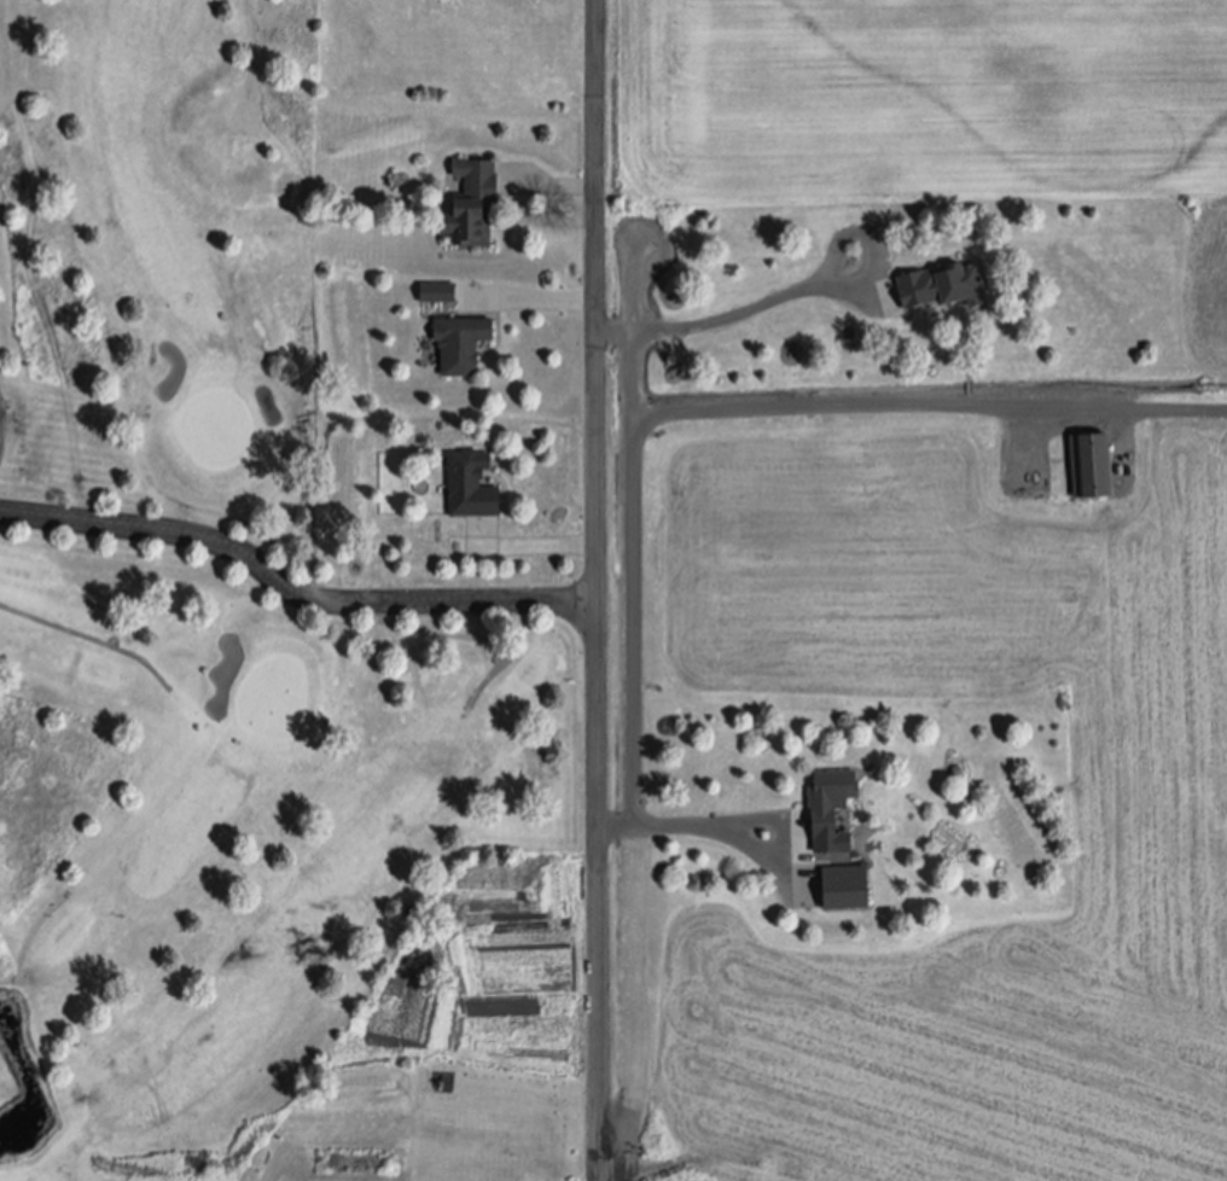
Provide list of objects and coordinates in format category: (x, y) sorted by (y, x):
building: (472, 208)
building: (941, 290)
road: (748, 307)
building: (460, 349)
road: (929, 405)
building: (1091, 471)
building: (471, 489)
building: (397, 517)
road: (533, 541)
park: (198, 587)
road: (599, 590)
road: (291, 592)
road: (635, 696)
building: (830, 805)
road: (710, 821)
building: (844, 894)

